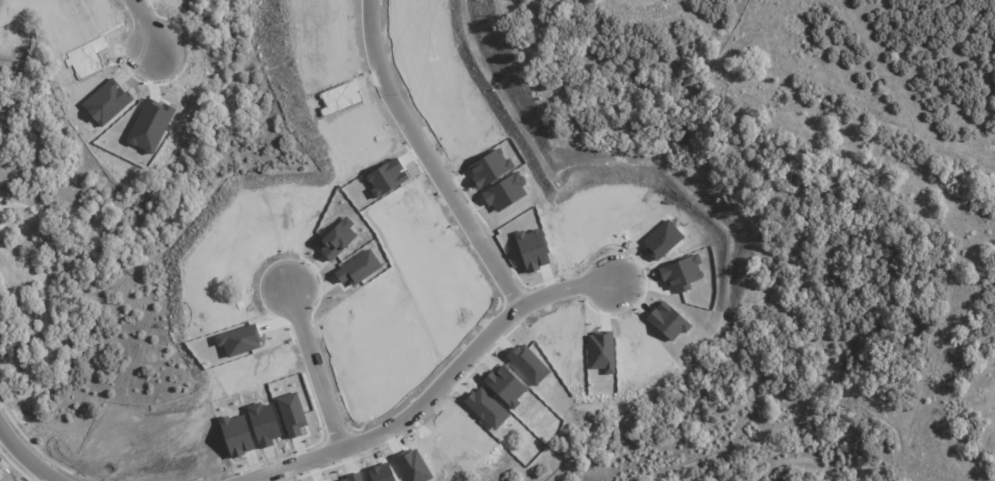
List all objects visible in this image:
road: (143, 23)
road: (435, 160)
road: (567, 292)
park: (26, 309)
road: (315, 367)
road: (398, 420)
road: (24, 454)

